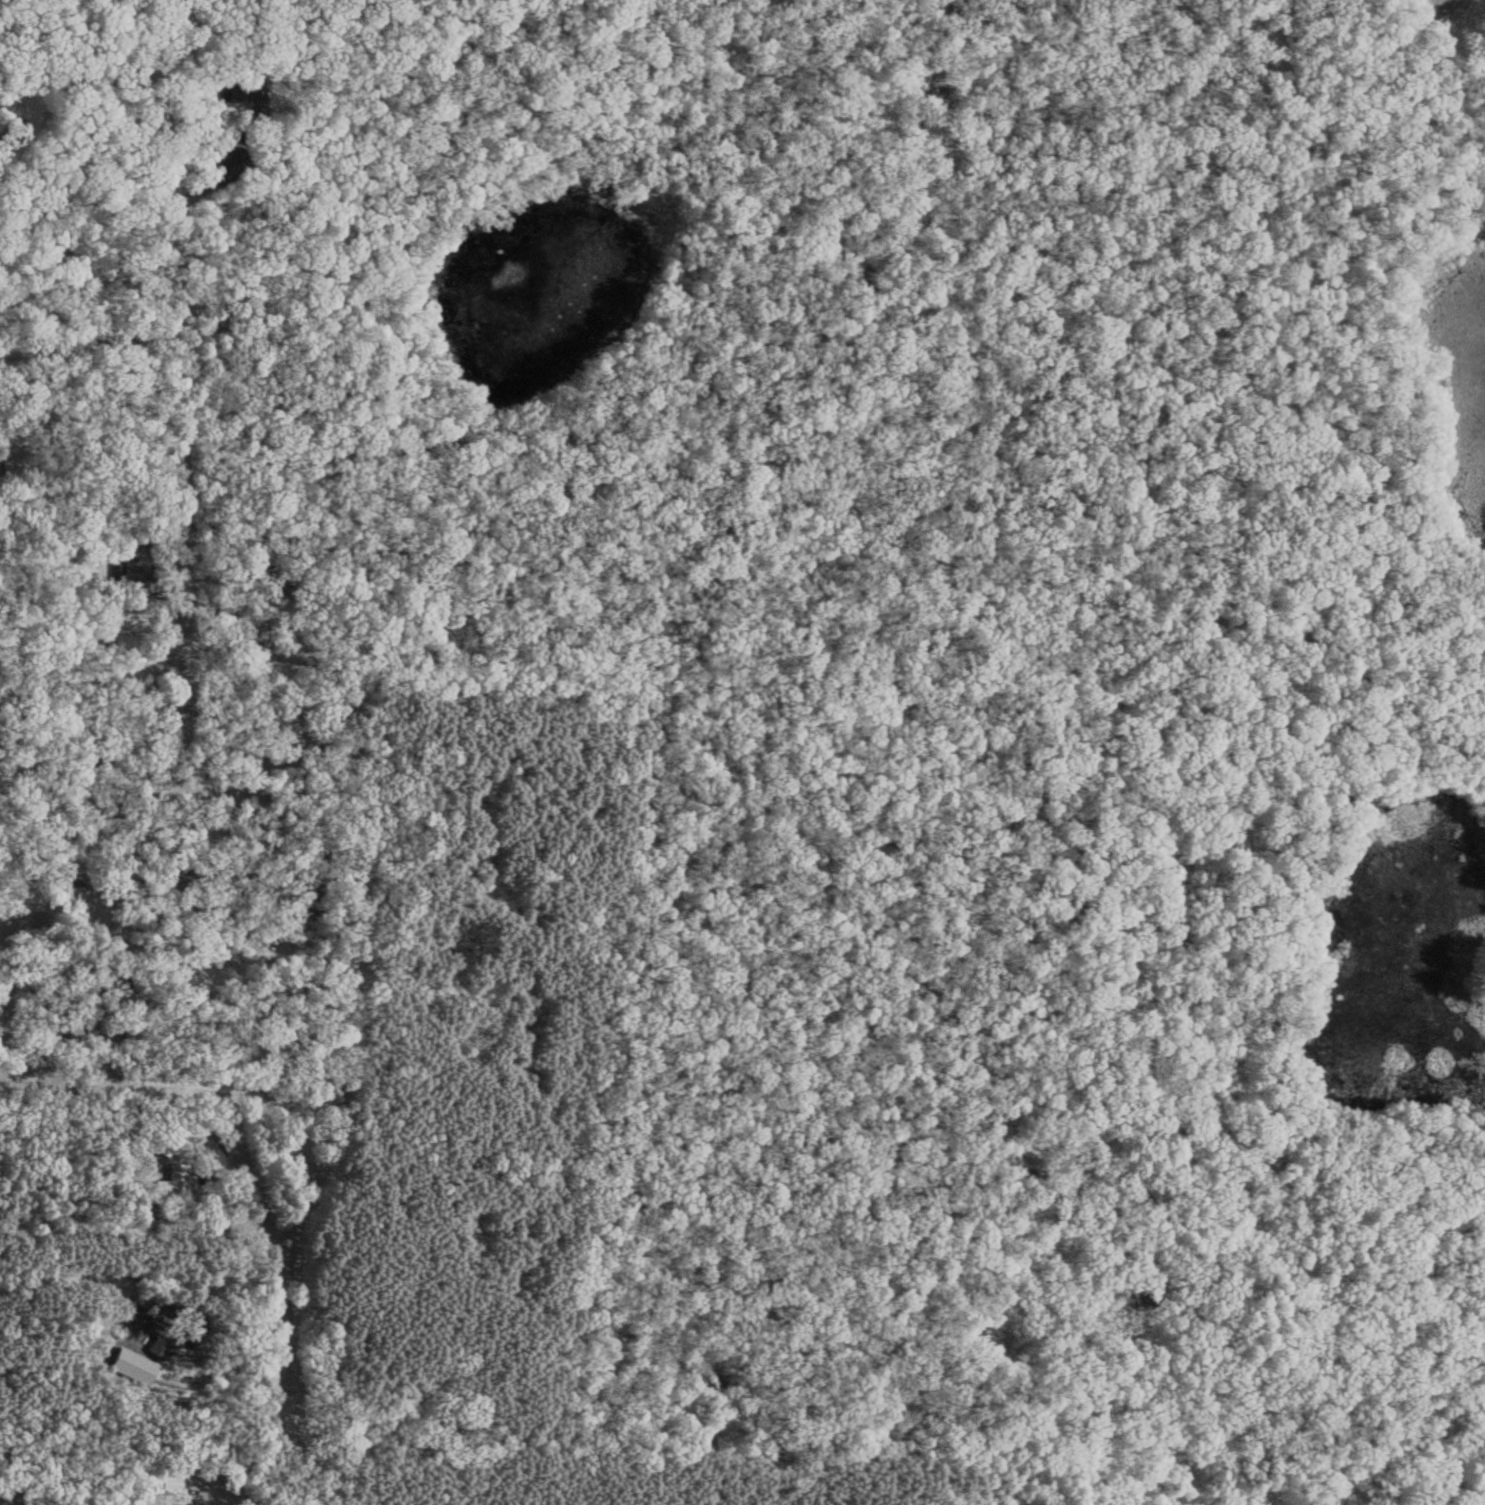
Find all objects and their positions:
road: (953, 392)
building: (136, 571)
road: (152, 744)
road: (171, 928)
road: (345, 1038)
road: (163, 1057)
road: (288, 1309)

